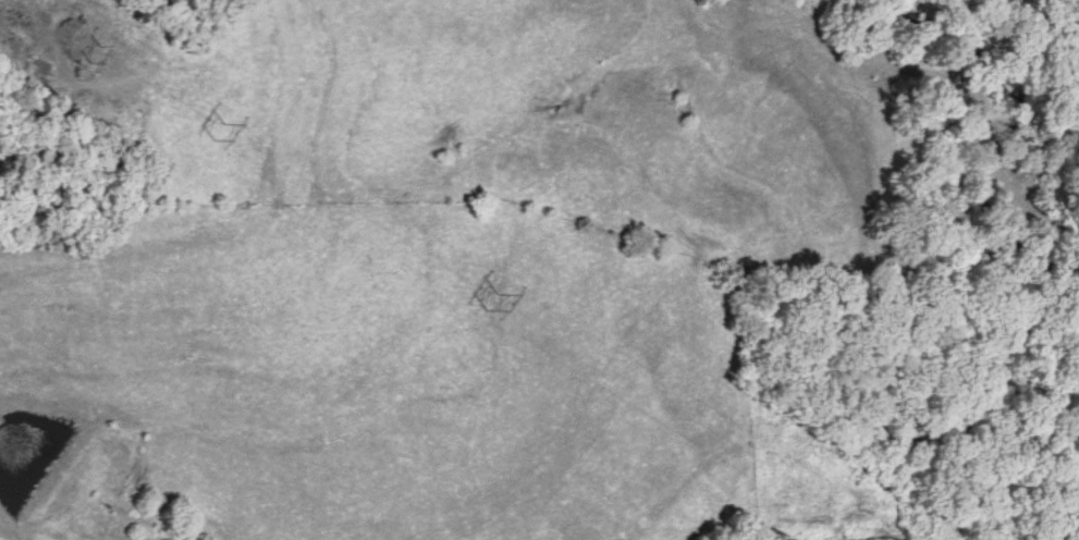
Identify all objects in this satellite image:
power tower: (93, 49)
power tower: (217, 130)
power tower: (488, 296)

